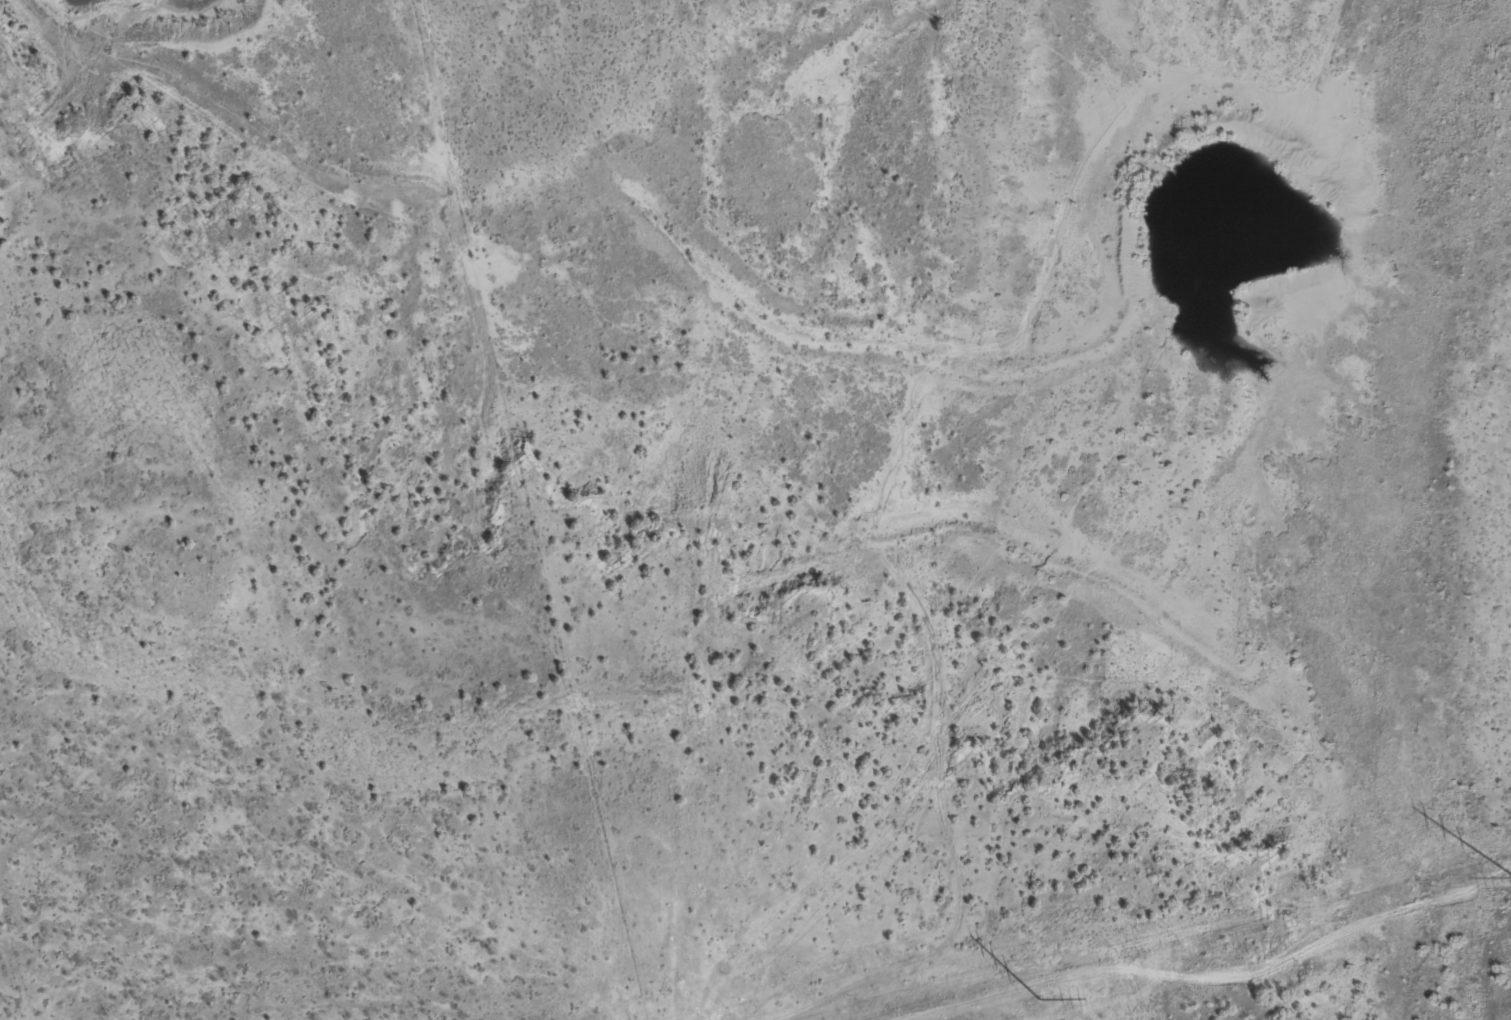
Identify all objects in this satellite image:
power tower: (1040, 998)

